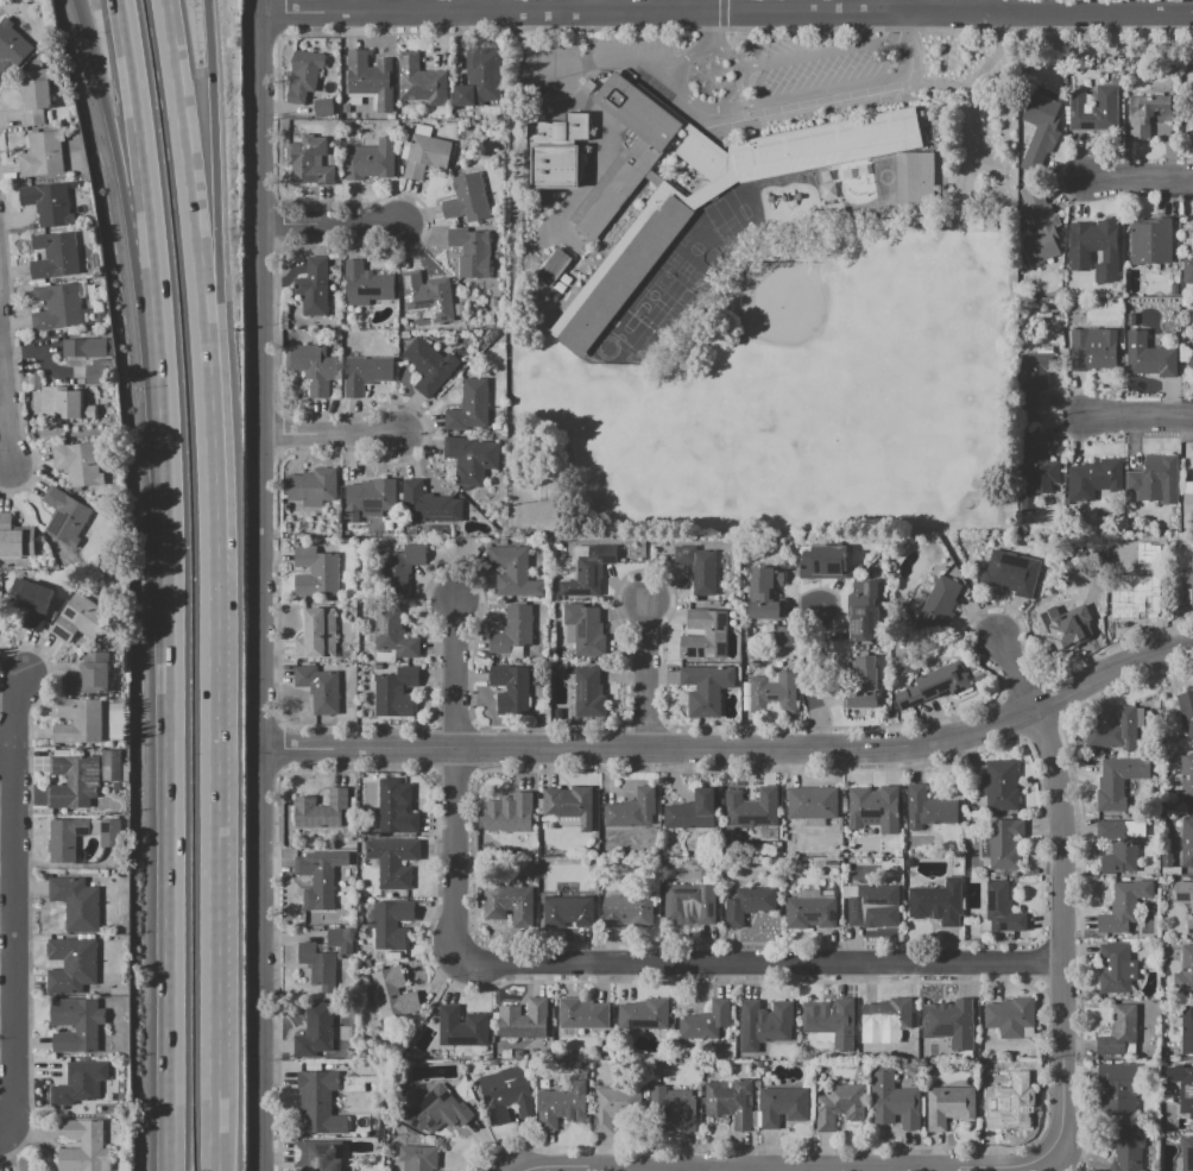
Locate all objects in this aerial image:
road: (684, 7)
road: (882, 7)
road: (721, 13)
road: (726, 14)
road: (277, 23)
road: (715, 26)
road: (702, 27)
road: (900, 27)
road: (739, 29)
building: (11, 48)
road: (815, 53)
road: (588, 59)
road: (677, 63)
parking lot: (587, 64)
parking lot: (822, 71)
building: (302, 76)
building: (370, 77)
building: (479, 77)
building: (421, 81)
road: (942, 83)
road: (827, 89)
building: (34, 95)
road: (738, 95)
road: (837, 102)
building: (321, 107)
building: (1093, 109)
building: (1149, 113)
building: (562, 127)
building: (1040, 130)
flagpole: (718, 137)
road: (984, 143)
building: (42, 155)
building: (425, 155)
building: (307, 160)
building: (370, 160)
building: (555, 165)
building: (652, 177)
road: (1140, 178)
track: (884, 182)
building: (915, 182)
building: (466, 199)
building: (48, 203)
road: (511, 209)
road: (981, 209)
road: (977, 210)
building: (661, 218)
building: (983, 221)
road: (327, 225)
building: (1039, 226)
building: (1149, 241)
building: (1092, 246)
building: (471, 251)
building: (55, 256)
park: (709, 256)
building: (1188, 266)
building: (551, 267)
road: (137, 270)
road: (201, 270)
road: (220, 270)
building: (365, 285)
building: (313, 288)
building: (427, 295)
park: (652, 295)
park: (781, 304)
building: (57, 307)
building: (1192, 317)
park: (942, 327)
park: (626, 328)
building: (1192, 340)
building: (1122, 346)
building: (83, 347)
building: (1091, 348)
building: (1148, 357)
park: (818, 361)
building: (1189, 361)
building: (429, 365)
building: (311, 367)
building: (366, 373)
building: (99, 374)
building: (1033, 376)
building: (64, 403)
building: (468, 408)
road: (5, 415)
road: (1141, 417)
road: (329, 434)
park: (764, 446)
building: (471, 459)
building: (80, 462)
building: (1035, 474)
building: (1092, 479)
building: (1155, 480)
building: (313, 486)
building: (538, 490)
building: (370, 498)
building: (428, 504)
building: (1187, 509)
building: (64, 516)
building: (5, 518)
building: (762, 530)
building: (17, 541)
building: (821, 562)
building: (696, 568)
building: (400, 569)
building: (589, 571)
building: (315, 572)
building: (513, 572)
building: (1012, 573)
building: (1191, 579)
road: (172, 584)
road: (968, 584)
road: (263, 585)
building: (762, 592)
building: (1132, 603)
building: (939, 604)
building: (36, 605)
building: (0, 606)
building: (0, 619)
building: (81, 621)
building: (1071, 621)
building: (861, 625)
building: (583, 629)
building: (513, 630)
building: (317, 634)
building: (393, 634)
building: (702, 636)
building: (784, 636)
building: (90, 675)
road: (644, 675)
road: (806, 680)
building: (938, 684)
building: (860, 686)
building: (510, 688)
building: (706, 688)
building: (318, 690)
building: (396, 693)
building: (771, 693)
building: (587, 694)
building: (1186, 712)
building: (80, 722)
building: (1117, 732)
road: (6, 749)
road: (737, 750)
building: (112, 766)
building: (1186, 776)
road: (453, 779)
building: (75, 781)
building: (999, 786)
building: (1111, 787)
building: (812, 802)
building: (567, 805)
building: (752, 807)
building: (320, 808)
building: (397, 808)
building: (872, 808)
building: (632, 810)
building: (927, 810)
building: (692, 811)
building: (509, 813)
road: (216, 823)
building: (63, 841)
building: (1186, 842)
building: (1005, 845)
building: (1118, 849)
building: (897, 852)
building: (393, 861)
building: (1167, 861)
building: (831, 862)
building: (908, 862)
building: (317, 879)
building: (1185, 900)
building: (870, 901)
building: (687, 902)
building: (938, 902)
building: (77, 904)
building: (746, 904)
building: (509, 906)
building: (1123, 906)
building: (1002, 908)
road: (13, 909)
building: (566, 911)
building: (629, 911)
building: (808, 912)
building: (390, 923)
building: (326, 957)
road: (760, 964)
building: (72, 965)
building: (1118, 967)
building: (1183, 974)
building: (393, 993)
building: (582, 1013)
building: (888, 1014)
building: (643, 1015)
building: (1009, 1016)
building: (525, 1019)
building: (831, 1020)
building: (705, 1022)
building: (949, 1022)
building: (763, 1024)
building: (77, 1025)
building: (462, 1027)
building: (1186, 1030)
building: (314, 1031)
building: (1118, 1031)
building: (753, 1064)
building: (753, 1072)
building: (358, 1082)
building: (81, 1083)
building: (1118, 1087)
building: (1185, 1091)
building: (505, 1093)
building: (1016, 1097)
building: (894, 1101)
building: (730, 1103)
building: (317, 1104)
building: (561, 1106)
building: (614, 1106)
building: (783, 1106)
building: (839, 1106)
building: (949, 1107)
building: (671, 1109)
building: (436, 1110)
road: (216, 1137)
building: (84, 1146)
building: (1126, 1147)
road: (1052, 1151)
building: (1187, 1153)
building: (316, 1156)
building: (418, 1157)
road: (712, 1169)

